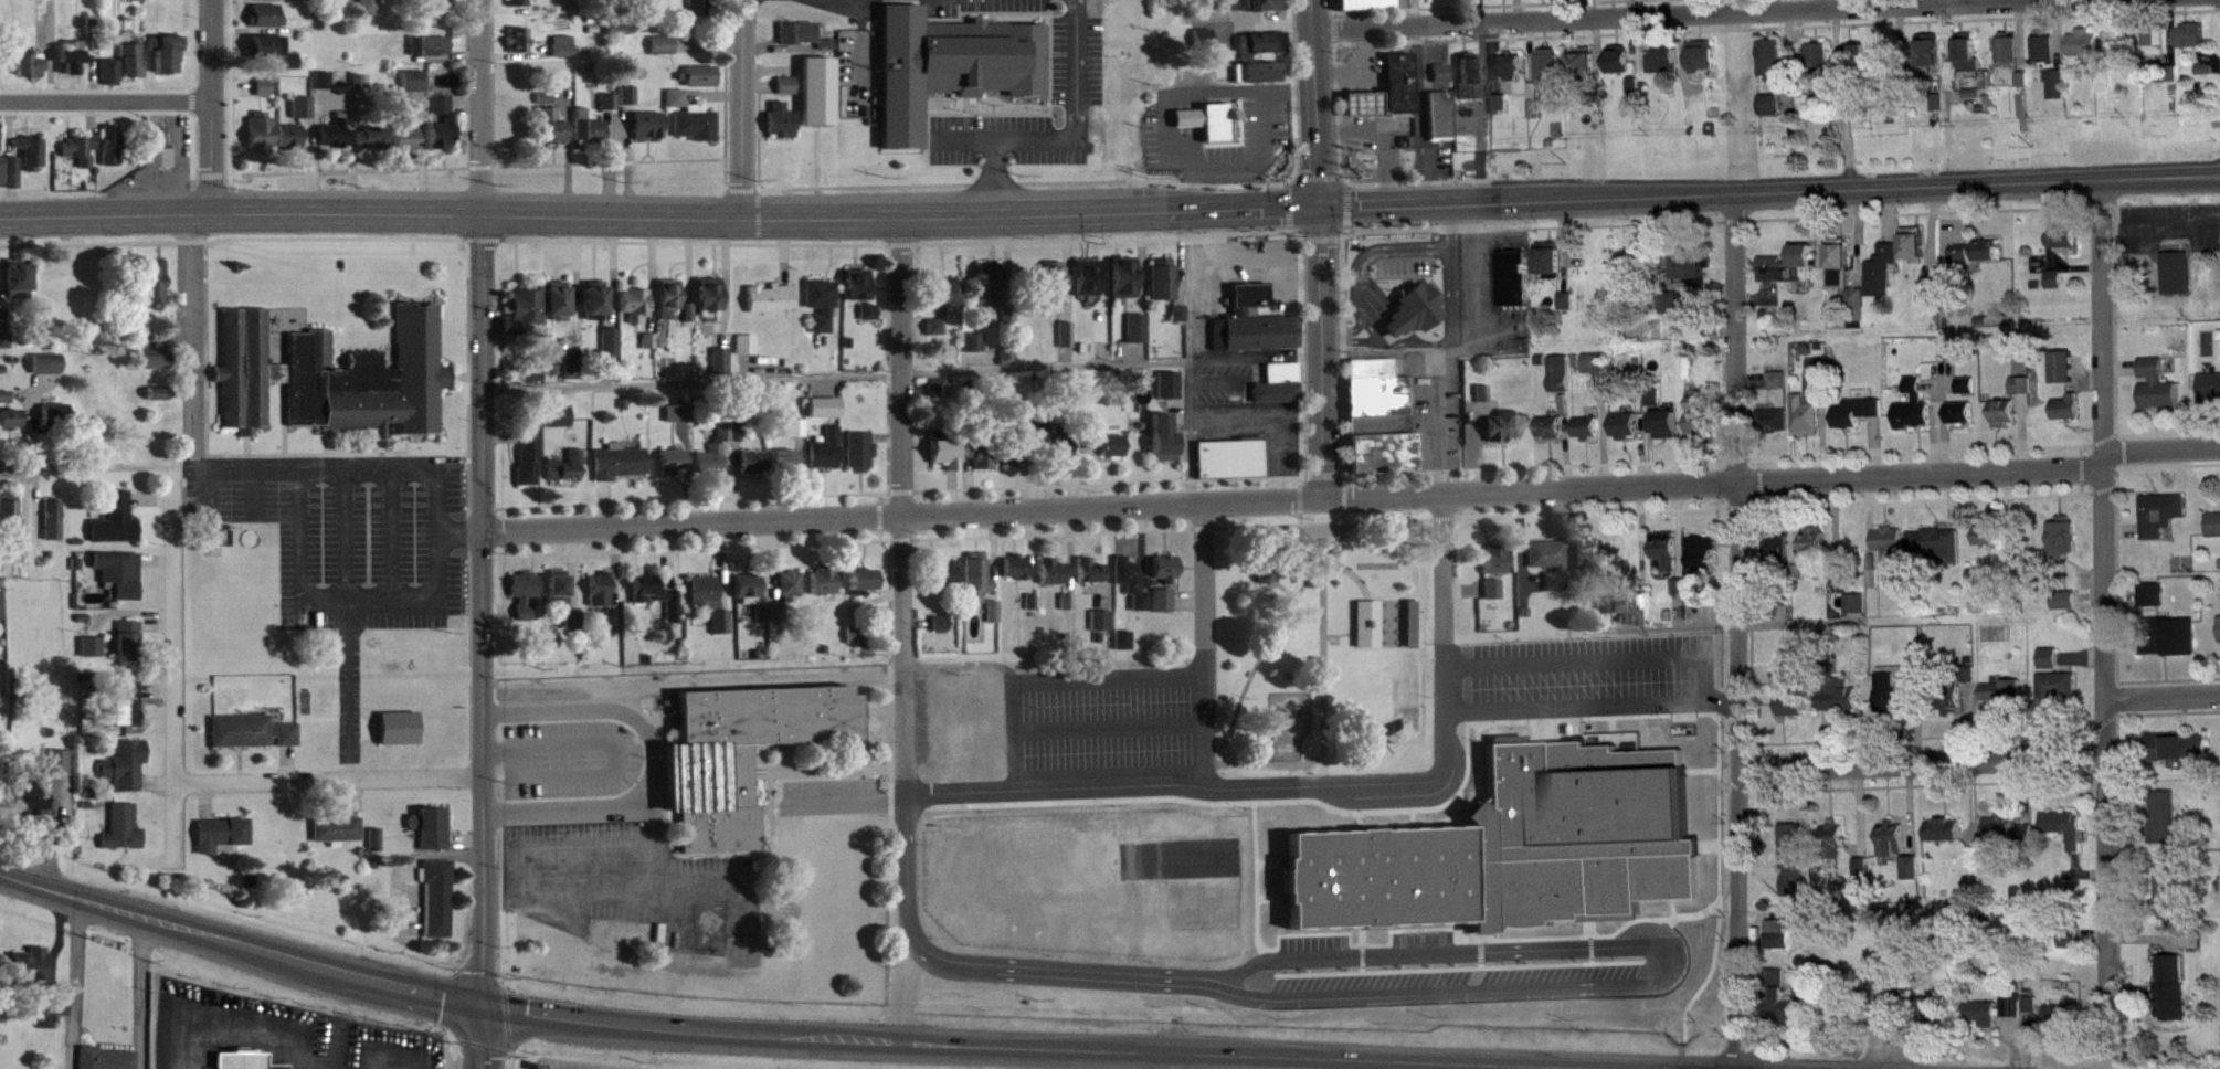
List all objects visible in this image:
building: (694, 0)
building: (1577, 0)
building: (1608, 0)
building: (158, 1)
building: (1540, 1)
building: (1468, 2)
building: (1503, 2)
building: (268, 3)
building: (1431, 3)
road: (1938, 3)
building: (136, 4)
building: (313, 4)
parking lot: (977, 6)
road: (1820, 6)
building: (520, 8)
building: (1231, 10)
building: (1264, 10)
building: (1368, 10)
building: (370, 12)
building: (436, 13)
building: (700, 15)
road: (1708, 15)
building: (266, 25)
building: (801, 42)
road: (190, 43)
building: (2193, 44)
road: (49, 50)
building: (520, 50)
building: (2087, 52)
building: (2158, 52)
building: (1264, 53)
building: (432, 55)
building: (564, 55)
building: (665, 55)
building: (2048, 56)
building: (275, 59)
parking lot: (1076, 59)
building: (2011, 61)
building: (167, 62)
building: (1932, 62)
building: (1970, 62)
building: (949, 63)
building: (1704, 65)
building: (1821, 65)
building: (73, 66)
building: (1858, 66)
building: (1886, 66)
building: (1774, 68)
building: (133, 71)
parking lot: (856, 71)
building: (1586, 71)
building: (1621, 71)
building: (1667, 71)
building: (31, 74)
building: (1514, 75)
building: (1551, 76)
building: (1227, 80)
building: (112, 82)
building: (1262, 82)
building: (1444, 83)
building: (702, 85)
building: (324, 89)
building: (415, 89)
building: (1474, 89)
building: (1403, 93)
building: (2059, 94)
building: (789, 95)
building: (265, 97)
road: (191, 99)
road: (104, 100)
building: (821, 100)
road: (1318, 103)
road: (480, 105)
building: (631, 105)
building: (678, 107)
road: (740, 107)
road: (209, 108)
building: (1536, 109)
building: (611, 110)
building: (1501, 113)
building: (1365, 114)
building: (1773, 114)
building: (304, 117)
building: (1442, 124)
building: (451, 128)
building: (784, 130)
building: (1211, 130)
road: (1846, 131)
building: (698, 133)
building: (651, 135)
building: (553, 136)
building: (590, 136)
building: (262, 140)
road: (1068, 140)
building: (336, 141)
road: (191, 146)
building: (290, 146)
building: (373, 148)
building: (408, 148)
building: (113, 155)
building: (158, 157)
building: (81, 159)
building: (32, 161)
road: (512, 165)
road: (478, 166)
road: (345, 170)
road: (209, 174)
building: (1, 178)
building: (13, 181)
road: (2160, 183)
road: (1710, 201)
traffic signals: (1320, 207)
road: (659, 212)
building: (2071, 248)
building: (1917, 254)
building: (1981, 262)
building: (1552, 268)
building: (1842, 273)
building: (1793, 275)
building: (1692, 278)
building: (2181, 279)
building: (1885, 282)
building: (1089, 287)
building: (1125, 287)
building: (1516, 287)
building: (20, 289)
building: (1165, 289)
building: (2058, 289)
building: (156, 290)
building: (991, 294)
building: (1056, 294)
building: (859, 295)
building: (948, 301)
building: (711, 304)
building: (598, 307)
building: (670, 307)
building: (772, 308)
building: (1250, 308)
building: (559, 309)
building: (1569, 310)
building: (636, 311)
building: (1674, 311)
building: (823, 313)
building: (1860, 318)
building: (526, 320)
building: (1416, 320)
road: (2103, 320)
building: (871, 321)
building: (690, 322)
building: (1180, 322)
building: (938, 336)
building: (1139, 338)
road: (1732, 341)
building: (1258, 342)
building: (1067, 345)
building: (6, 349)
building: (651, 350)
building: (612, 352)
building: (975, 352)
road: (1320, 352)
building: (748, 353)
road: (1187, 356)
road: (959, 370)
building: (157, 371)
building: (723, 371)
building: (1598, 373)
building: (49, 375)
building: (2065, 377)
building: (1563, 383)
building: (336, 387)
building: (1774, 391)
building: (1280, 393)
building: (1170, 394)
building: (1969, 395)
building: (2025, 395)
building: (2159, 395)
building: (941, 398)
building: (2211, 398)
building: (160, 403)
building: (1484, 403)
building: (6, 406)
building: (1657, 408)
building: (1810, 416)
building: (1917, 416)
building: (826, 417)
building: (2071, 417)
building: (1859, 422)
building: (1964, 422)
building: (2007, 422)
building: (680, 423)
building: (57, 424)
building: (560, 425)
building: (11, 427)
building: (1382, 427)
building: (1777, 430)
building: (1703, 433)
building: (1669, 434)
building: (1628, 435)
building: (1505, 436)
building: (799, 437)
building: (1553, 437)
building: (1590, 437)
building: (1033, 442)
building: (1165, 448)
road: (2163, 452)
building: (1103, 454)
building: (1059, 456)
building: (828, 459)
building: (863, 461)
building: (716, 463)
building: (948, 463)
building: (983, 463)
road: (10, 468)
building: (530, 468)
building: (786, 468)
building: (1230, 468)
road: (1921, 469)
building: (675, 470)
building: (755, 470)
building: (621, 472)
building: (568, 477)
road: (900, 501)
road: (1109, 506)
building: (10, 523)
building: (2164, 523)
building: (54, 530)
building: (117, 530)
road: (172, 533)
building: (2214, 534)
building: (1991, 544)
building: (2065, 547)
building: (1817, 550)
building: (1890, 553)
building: (1936, 553)
building: (1668, 558)
building: (1779, 559)
building: (1704, 562)
building: (1593, 564)
building: (1497, 570)
building: (1552, 572)
building: (1017, 576)
building: (1095, 579)
building: (1166, 579)
building: (121, 582)
building: (948, 582)
building: (1054, 582)
building: (1980, 584)
building: (977, 586)
building: (1843, 586)
building: (826, 591)
building: (864, 591)
building: (1132, 592)
building: (793, 595)
building: (1682, 596)
building: (561, 599)
building: (1494, 599)
building: (602, 600)
building: (750, 602)
building: (526, 603)
building: (657, 604)
building: (2155, 604)
road: (480, 610)
building: (1164, 610)
building: (2068, 610)
building: (712, 612)
building: (1068, 612)
building: (1858, 613)
building: (1605, 614)
building: (0, 616)
building: (994, 621)
building: (780, 622)
building: (764, 623)
building: (614, 627)
building: (575, 628)
building: (1101, 631)
building: (942, 633)
building: (1370, 634)
building: (1416, 634)
road: (1268, 641)
park: (1323, 641)
building: (857, 645)
road: (1203, 645)
road: (1444, 647)
building: (2173, 647)
building: (1124, 649)
building: (129, 650)
building: (93, 656)
building: (2052, 668)
road: (1323, 669)
building: (1797, 674)
building: (1917, 688)
road: (2164, 695)
building: (2061, 697)
building: (2007, 701)
building: (1892, 702)
building: (1843, 706)
building: (1955, 707)
parking lot: (1584, 709)
building: (127, 713)
building: (1795, 715)
parking lot: (919, 720)
parking lot: (1106, 728)
building: (401, 738)
building: (1406, 739)
building: (252, 741)
road: (2106, 749)
building: (737, 751)
building: (2181, 756)
road: (648, 759)
parking lot: (574, 760)
road: (1923, 762)
building: (60, 772)
building: (126, 775)
road: (1740, 775)
road: (326, 777)
road: (1156, 787)
building: (34, 805)
road: (1613, 824)
building: (2166, 827)
building: (433, 837)
building: (2069, 837)
building: (125, 838)
building: (339, 838)
building: (2002, 838)
building: (1947, 840)
building: (224, 845)
building: (377, 849)
building: (1894, 849)
building: (1837, 850)
building: (1796, 867)
building: (1913, 878)
building: (1383, 887)
building: (2174, 895)
building: (1204, 904)
building: (438, 908)
building: (1527, 910)
road: (902, 917)
building: (1784, 943)
building: (2071, 950)
building: (31, 974)
road: (73, 984)
building: (1782, 986)
road: (136, 994)
building: (2175, 997)
traffic signals: (475, 1009)
building: (2034, 1014)
building: (2015, 1015)
building: (1794, 1017)
building: (1935, 1020)
building: (1882, 1024)
building: (1984, 1024)
building: (2063, 1026)
road: (475, 1039)
road: (753, 1040)
road: (1155, 1062)
building: (106, 1063)
building: (244, 1066)

